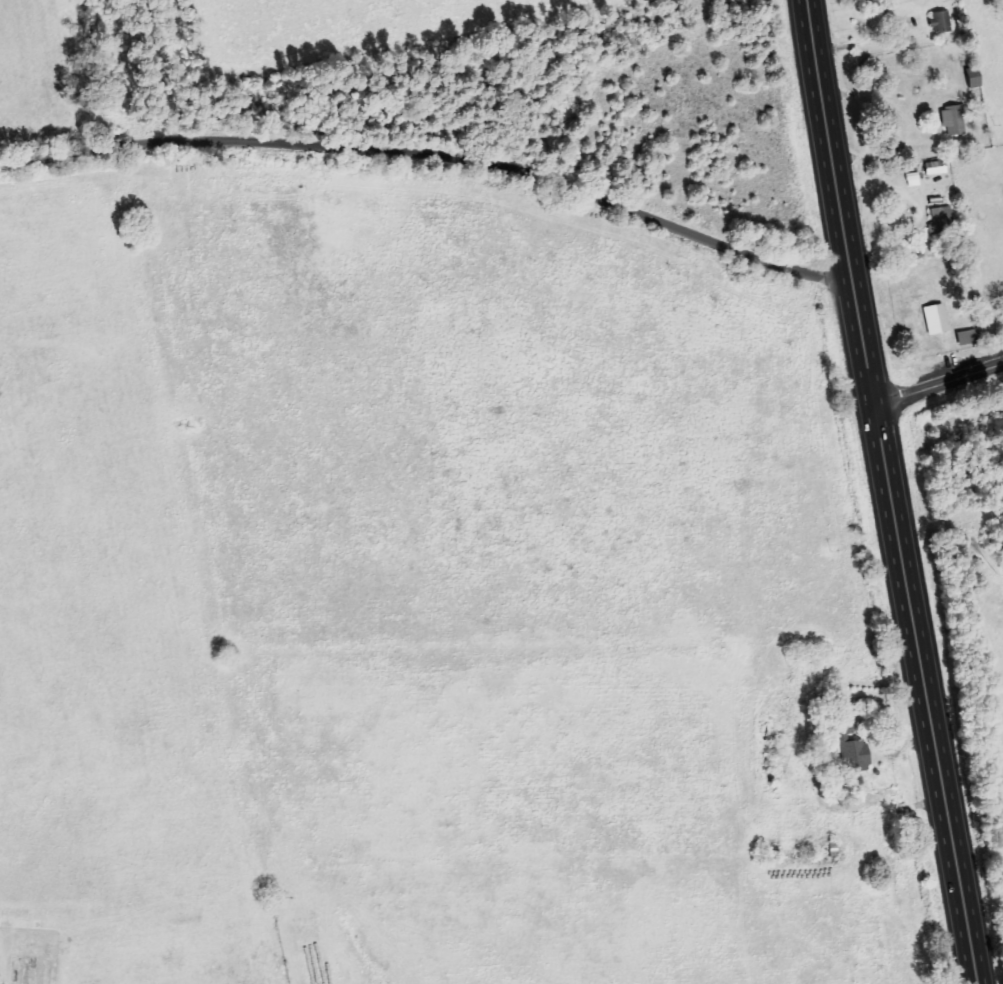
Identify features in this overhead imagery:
building: (944, 21)
building: (957, 121)
road: (436, 156)
building: (938, 168)
building: (916, 179)
building: (944, 220)
building: (939, 319)
building: (970, 337)
road: (938, 385)
road: (890, 492)
building: (858, 755)

